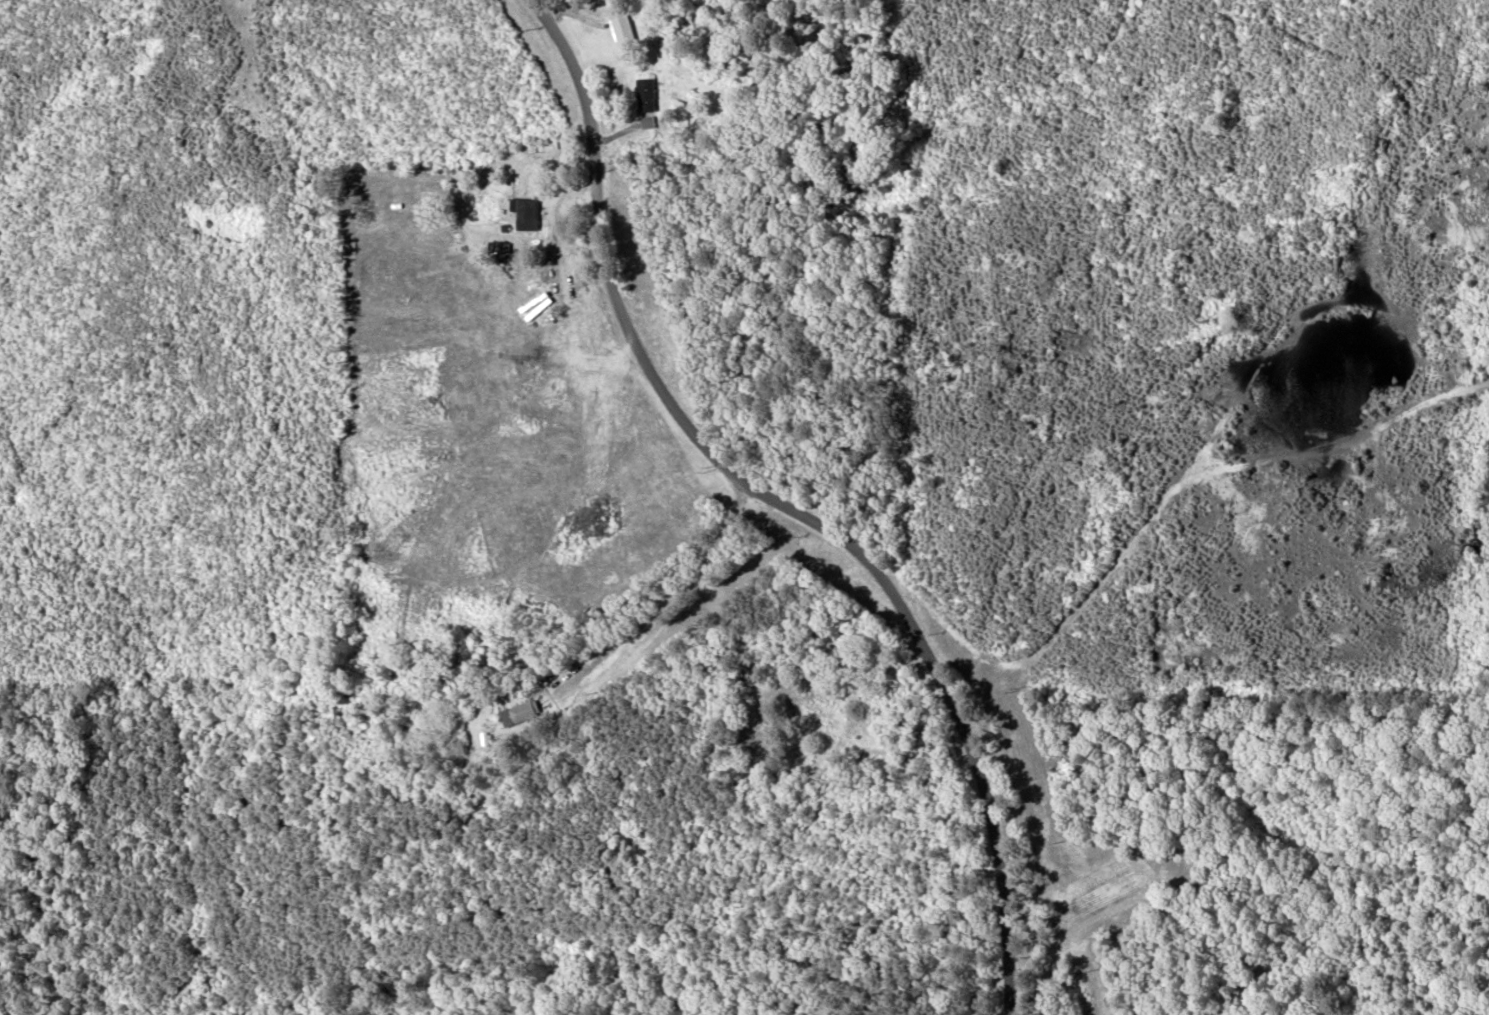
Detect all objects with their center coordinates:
building: (625, 31)
building: (648, 95)
building: (529, 215)
road: (755, 513)
road: (673, 644)
building: (522, 714)

